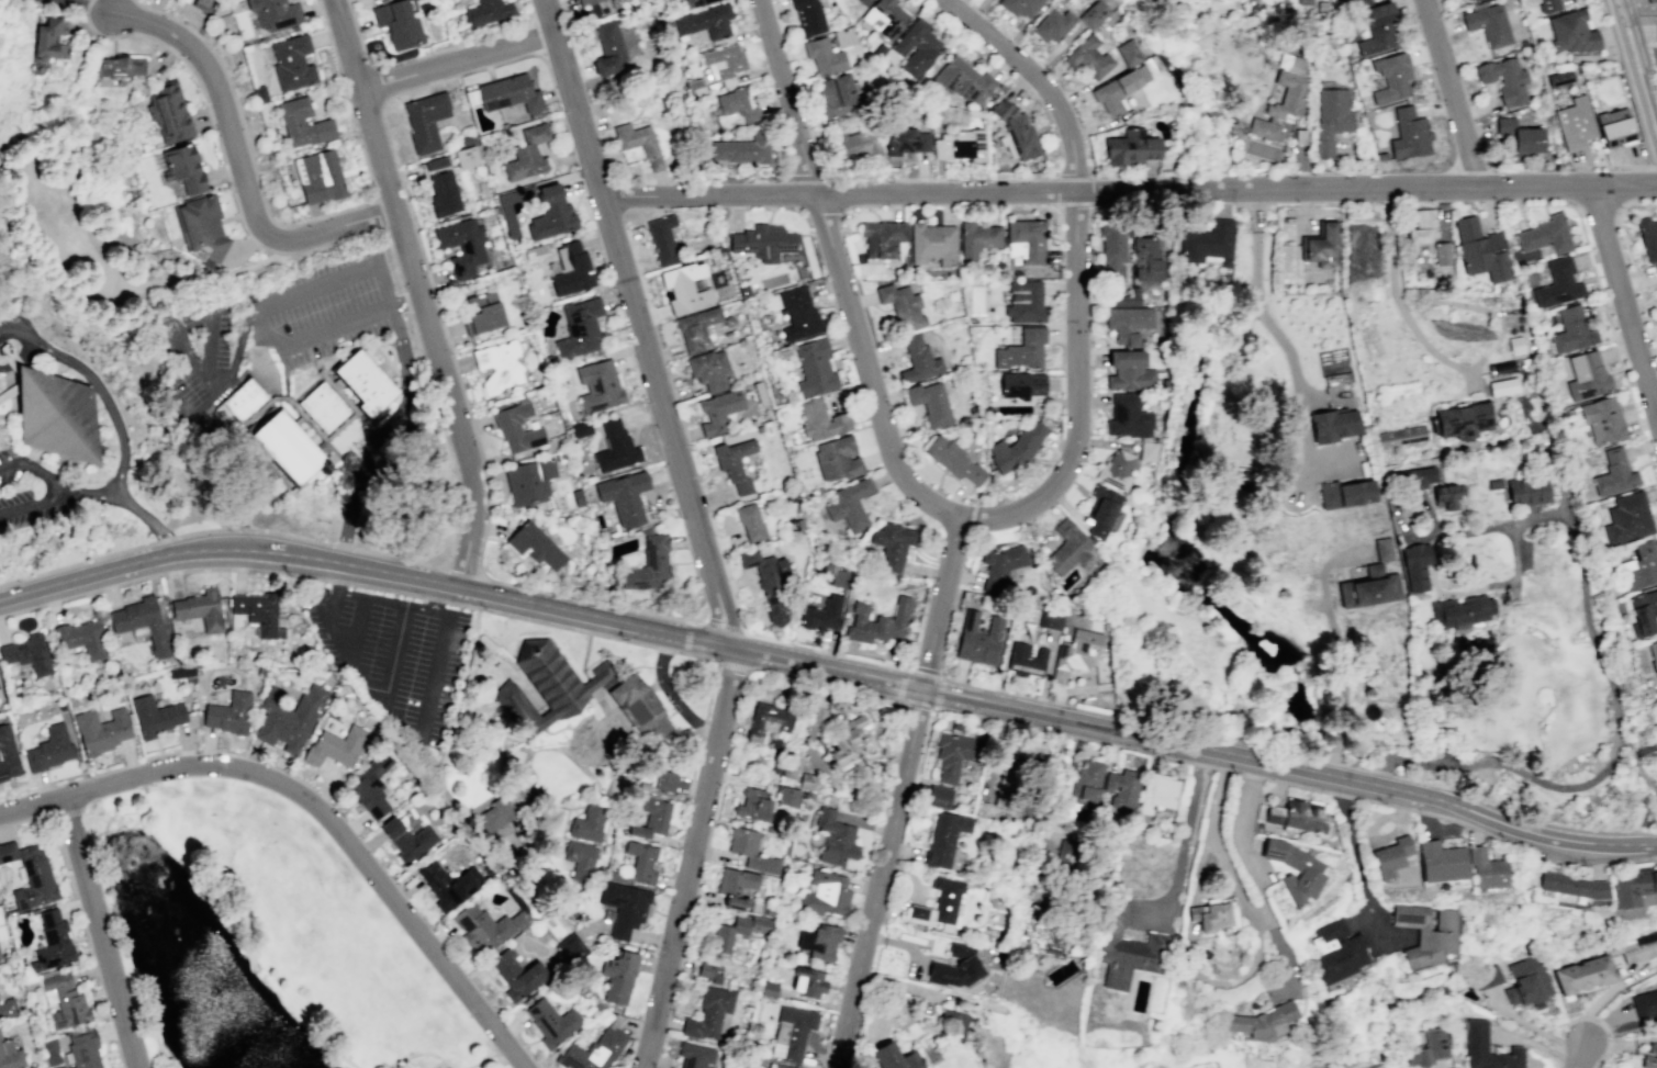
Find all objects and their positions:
building: (1471, 0)
building: (1650, 0)
building: (695, 2)
building: (863, 2)
building: (1303, 2)
building: (202, 4)
building: (1547, 5)
road: (89, 7)
building: (593, 7)
building: (1021, 8)
building: (488, 11)
building: (1093, 12)
building: (275, 14)
building: (808, 16)
building: (885, 18)
building: (705, 21)
building: (399, 22)
building: (1053, 23)
building: (1488, 24)
building: (1656, 25)
building: (1378, 26)
building: (1571, 32)
building: (52, 36)
building: (916, 47)
building: (608, 48)
building: (1129, 52)
road: (450, 56)
building: (824, 56)
building: (1089, 56)
building: (1291, 57)
road: (1639, 59)
building: (724, 60)
building: (292, 63)
road: (460, 63)
building: (1153, 63)
road: (376, 65)
building: (120, 66)
building: (1142, 71)
building: (1392, 76)
building: (1558, 78)
building: (1504, 80)
building: (964, 81)
road: (378, 83)
road: (1632, 86)
building: (1116, 90)
road: (1447, 91)
building: (508, 93)
building: (838, 95)
building: (738, 104)
building: (1280, 108)
road: (368, 109)
building: (1001, 109)
building: (169, 112)
building: (952, 114)
building: (1332, 119)
building: (424, 121)
building: (302, 123)
building: (1575, 123)
building: (1614, 127)
building: (1410, 133)
building: (1022, 136)
building: (1519, 136)
building: (908, 138)
building: (638, 143)
building: (857, 144)
building: (962, 144)
building: (1131, 146)
building: (741, 149)
building: (527, 154)
building: (466, 157)
road: (240, 165)
building: (182, 168)
building: (318, 177)
building: (441, 186)
road: (1130, 191)
building: (550, 213)
road: (377, 214)
road: (287, 225)
building: (1421, 225)
building: (201, 228)
road: (368, 229)
road: (416, 233)
building: (1545, 235)
building: (662, 237)
building: (1647, 237)
building: (881, 238)
building: (976, 239)
building: (1025, 240)
building: (762, 241)
building: (1209, 241)
building: (931, 245)
building: (1320, 245)
building: (462, 246)
building: (1115, 249)
building: (1442, 249)
building: (1480, 250)
building: (1147, 258)
building: (1287, 261)
building: (571, 270)
building: (1656, 270)
road: (1077, 274)
building: (1557, 284)
building: (685, 288)
road: (418, 291)
road: (1393, 295)
building: (1123, 300)
building: (1025, 301)
road: (1622, 301)
building: (900, 305)
building: (797, 312)
building: (481, 313)
road: (258, 317)
road: (639, 322)
building: (1129, 323)
parking lot: (276, 325)
building: (580, 327)
building: (696, 329)
building: (1571, 330)
road: (15, 331)
parking lot: (15, 338)
road: (1279, 340)
building: (1515, 345)
building: (1021, 349)
road: (205, 355)
road: (864, 355)
building: (1124, 357)
building: (918, 359)
water tower: (131, 364)
building: (499, 364)
building: (814, 368)
building: (708, 369)
building: (1586, 375)
building: (1131, 378)
road: (284, 382)
building: (363, 382)
building: (600, 384)
building: (1021, 384)
road: (333, 386)
building: (1502, 386)
building: (243, 398)
building: (930, 403)
road: (212, 404)
building: (323, 407)
building: (718, 411)
building: (52, 414)
building: (1129, 417)
road: (347, 418)
building: (820, 419)
building: (1462, 420)
building: (1602, 420)
building: (1332, 425)
building: (516, 427)
building: (582, 428)
road: (372, 431)
road: (378, 431)
road: (121, 434)
road: (157, 435)
building: (1400, 436)
road: (243, 441)
building: (286, 447)
building: (616, 447)
building: (1016, 448)
building: (1147, 451)
building: (837, 459)
building: (953, 460)
building: (734, 464)
road: (331, 468)
building: (1116, 470)
building: (1613, 473)
building: (1415, 476)
building: (529, 480)
building: (1493, 483)
road: (59, 484)
parking lot: (55, 490)
building: (1527, 492)
building: (1344, 493)
building: (624, 495)
building: (1445, 496)
road: (33, 503)
building: (849, 504)
building: (1101, 509)
building: (1627, 518)
building: (751, 520)
road: (238, 528)
road: (292, 536)
building: (535, 544)
building: (893, 544)
road: (344, 547)
building: (1067, 548)
building: (1382, 548)
road: (113, 552)
road: (125, 563)
road: (480, 563)
building: (649, 563)
road: (462, 564)
building: (1001, 565)
building: (1415, 565)
building: (1638, 566)
road: (1241, 572)
road: (163, 574)
building: (836, 576)
road: (337, 582)
building: (771, 583)
building: (1368, 587)
road: (387, 591)
road: (436, 596)
road: (382, 599)
road: (436, 599)
road: (594, 602)
building: (201, 608)
building: (258, 611)
building: (1460, 611)
building: (1644, 612)
building: (821, 614)
building: (1050, 619)
building: (141, 622)
building: (878, 622)
road: (723, 626)
road: (356, 628)
road: (571, 628)
road: (685, 637)
road: (760, 638)
building: (80, 639)
building: (978, 639)
road: (1600, 641)
road: (1336, 647)
road: (664, 650)
road: (764, 652)
building: (1074, 653)
building: (29, 654)
road: (394, 654)
road: (583, 656)
building: (1653, 656)
parking lot: (392, 657)
building: (1027, 660)
road: (638, 665)
road: (732, 665)
road: (715, 668)
road: (927, 670)
building: (181, 673)
road: (900, 685)
building: (548, 687)
road: (459, 690)
road: (939, 692)
road: (668, 694)
road: (916, 705)
building: (640, 707)
building: (229, 712)
building: (154, 715)
building: (287, 717)
road: (399, 720)
building: (769, 723)
building: (956, 726)
road: (702, 728)
building: (101, 730)
building: (844, 743)
building: (335, 746)
building: (49, 747)
building: (7, 753)
building: (958, 754)
road: (694, 767)
building: (809, 782)
building: (665, 783)
building: (1086, 783)
building: (370, 784)
building: (1122, 789)
building: (1008, 790)
building: (1156, 792)
building: (787, 796)
building: (938, 796)
building: (753, 805)
road: (1465, 806)
road: (316, 808)
road: (66, 812)
building: (501, 813)
building: (654, 813)
building: (1296, 816)
building: (587, 823)
building: (638, 831)
building: (835, 837)
building: (407, 839)
building: (944, 841)
road: (1185, 846)
building: (749, 850)
building: (1066, 852)
road: (1355, 854)
road: (690, 856)
building: (579, 858)
building: (1389, 858)
building: (1441, 862)
building: (0, 863)
building: (637, 865)
road: (1200, 866)
building: (1295, 868)
road: (67, 869)
building: (1486, 869)
building: (30, 876)
road: (881, 877)
building: (448, 884)
building: (1572, 886)
building: (1631, 887)
building: (738, 890)
building: (825, 893)
building: (938, 904)
building: (623, 907)
building: (1213, 914)
road: (1258, 925)
building: (486, 926)
road: (101, 931)
building: (1426, 933)
building: (1037, 934)
park: (261, 938)
building: (52, 942)
building: (727, 942)
building: (819, 942)
building: (1126, 947)
building: (1635, 947)
building: (572, 948)
building: (1336, 952)
road: (1287, 965)
building: (954, 967)
building: (516, 974)
building: (1585, 976)
building: (617, 977)
road: (1245, 978)
building: (1491, 981)
building: (808, 982)
building: (1527, 982)
road: (1606, 993)
building: (63, 1002)
building: (1645, 1004)
building: (8, 1007)
building: (708, 1013)
road: (1587, 1016)
building: (551, 1021)
building: (1262, 1021)
building: (952, 1022)
road: (1534, 1026)
building: (792, 1032)
building: (0, 1038)
road: (155, 1041)
road: (1537, 1044)
building: (1487, 1048)
building: (82, 1049)
building: (593, 1049)
building: (1426, 1049)
road: (422, 1054)
building: (694, 1055)
building: (10, 1056)
road: (484, 1056)
road: (1581, 1056)
building: (894, 1057)
building: (1650, 1058)
road: (346, 1059)
road: (519, 1066)
building: (779, 1066)

